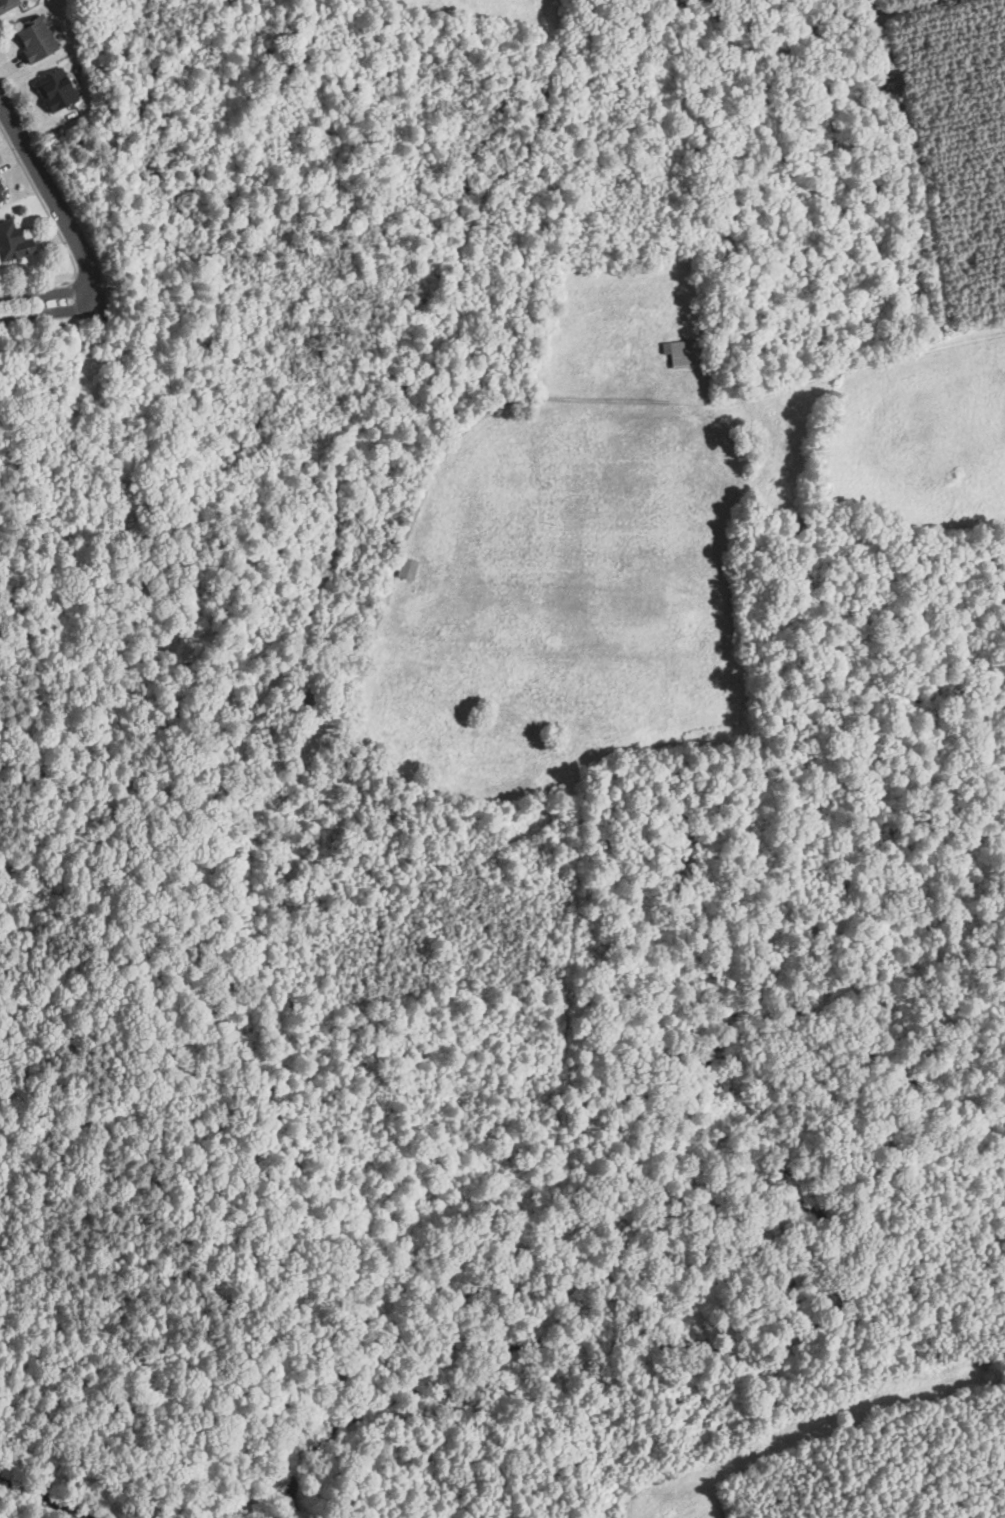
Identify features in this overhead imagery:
building: (7, 4)
building: (33, 39)
building: (57, 89)
building: (0, 187)
building: (1, 197)
road: (56, 200)
building: (12, 243)
road: (47, 293)
road: (48, 312)
building: (681, 352)
building: (406, 568)

